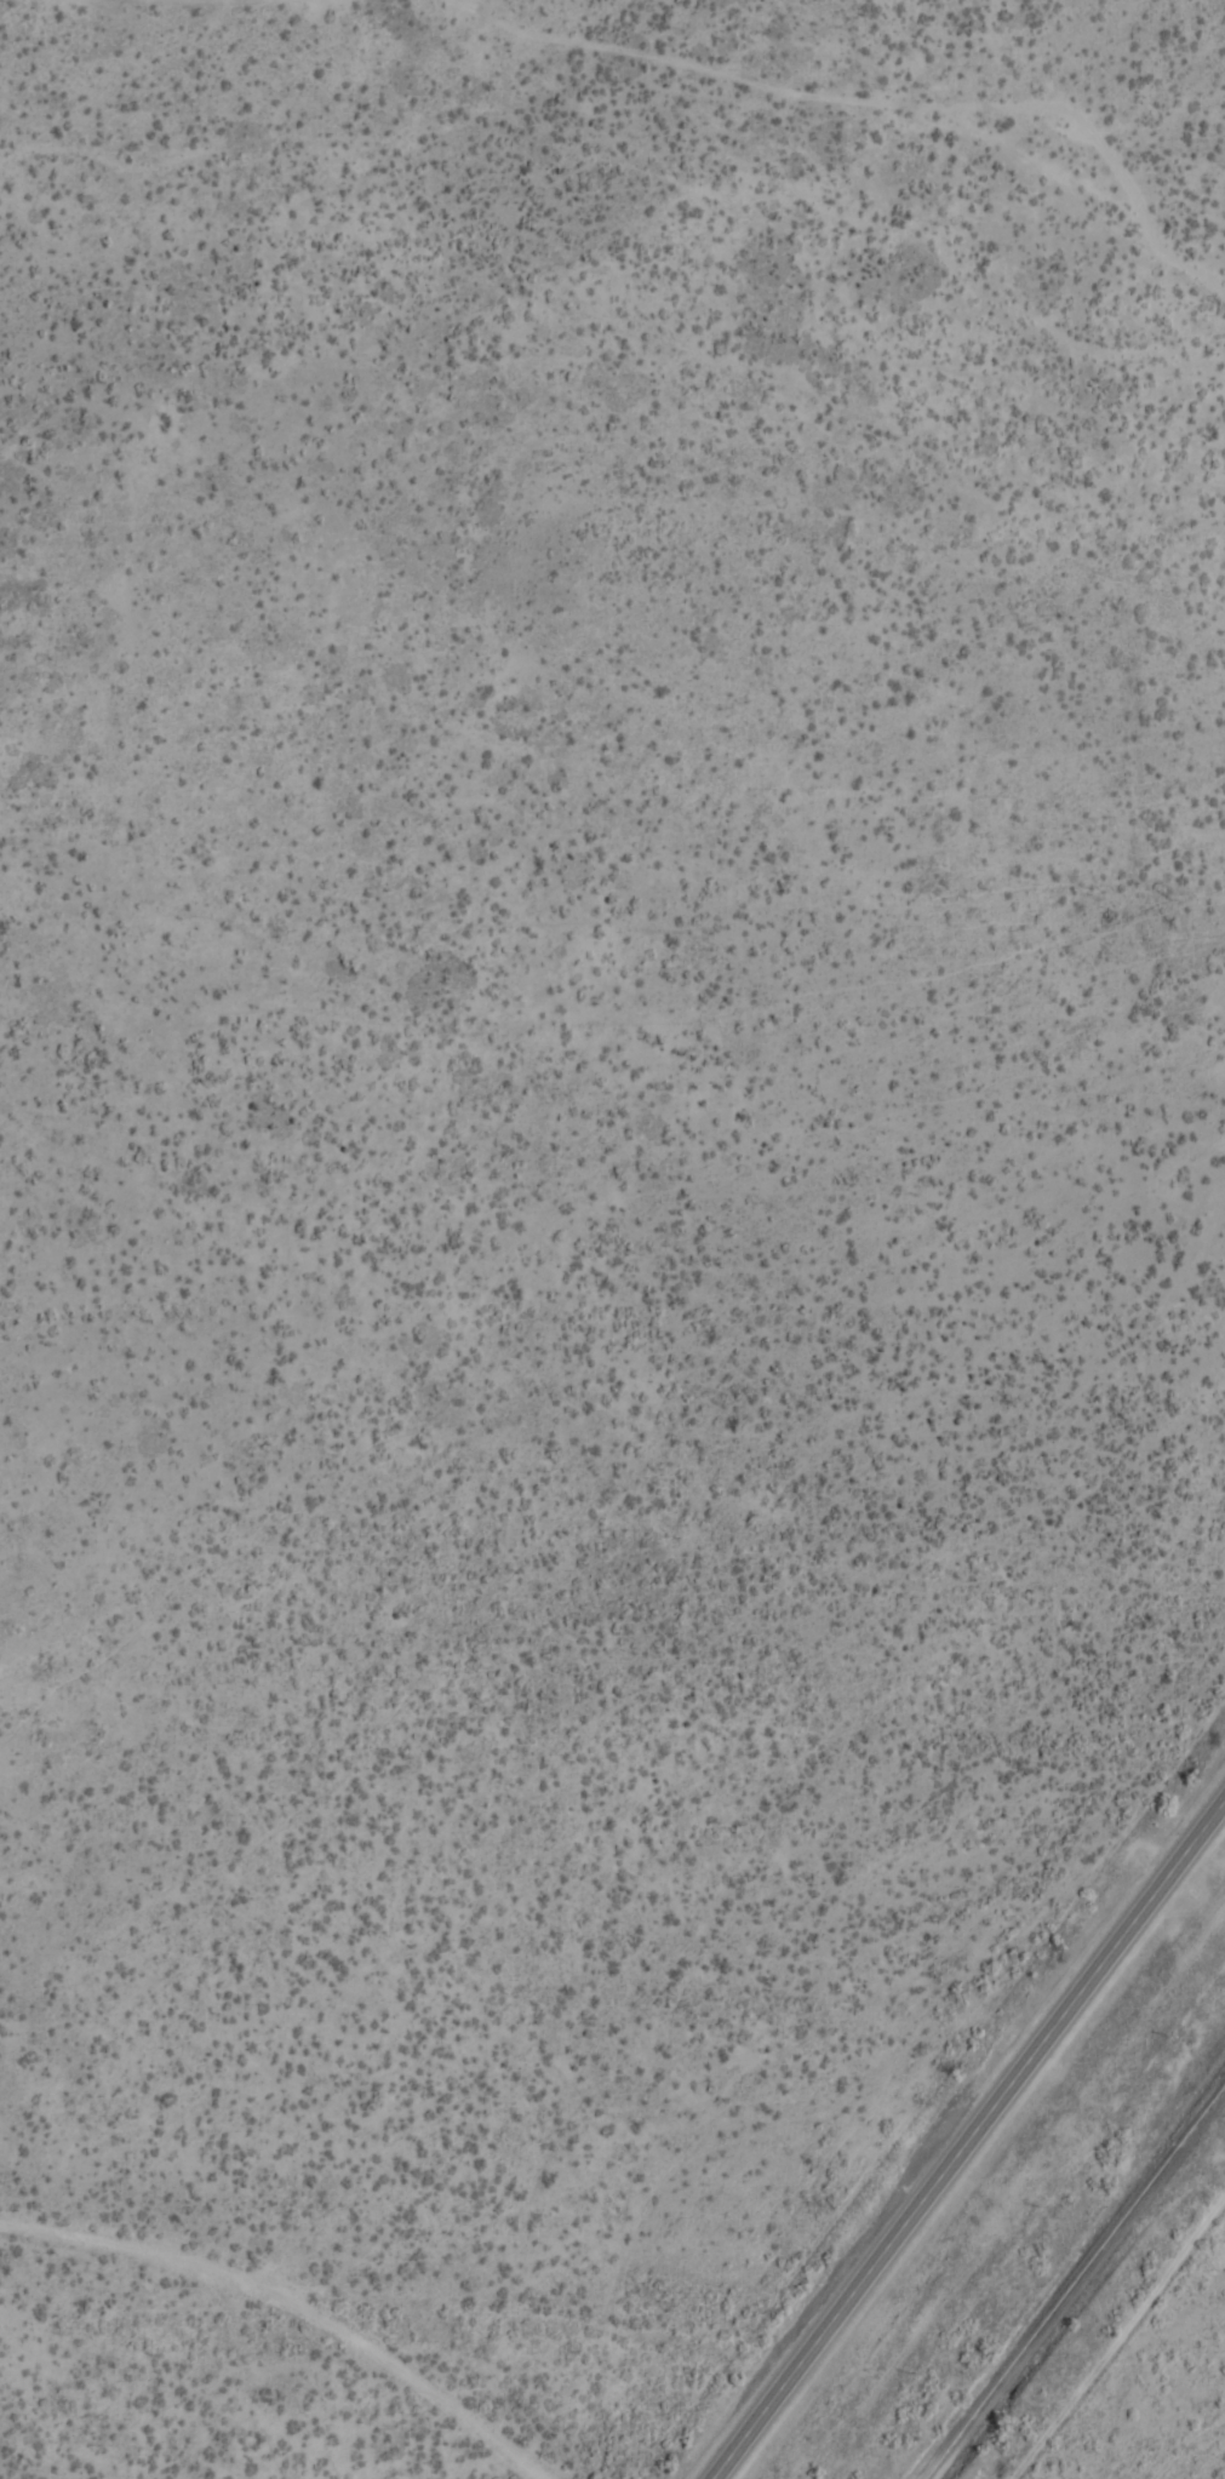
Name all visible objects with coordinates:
road: (968, 2139)
railway: (1076, 2282)
road: (288, 2308)

